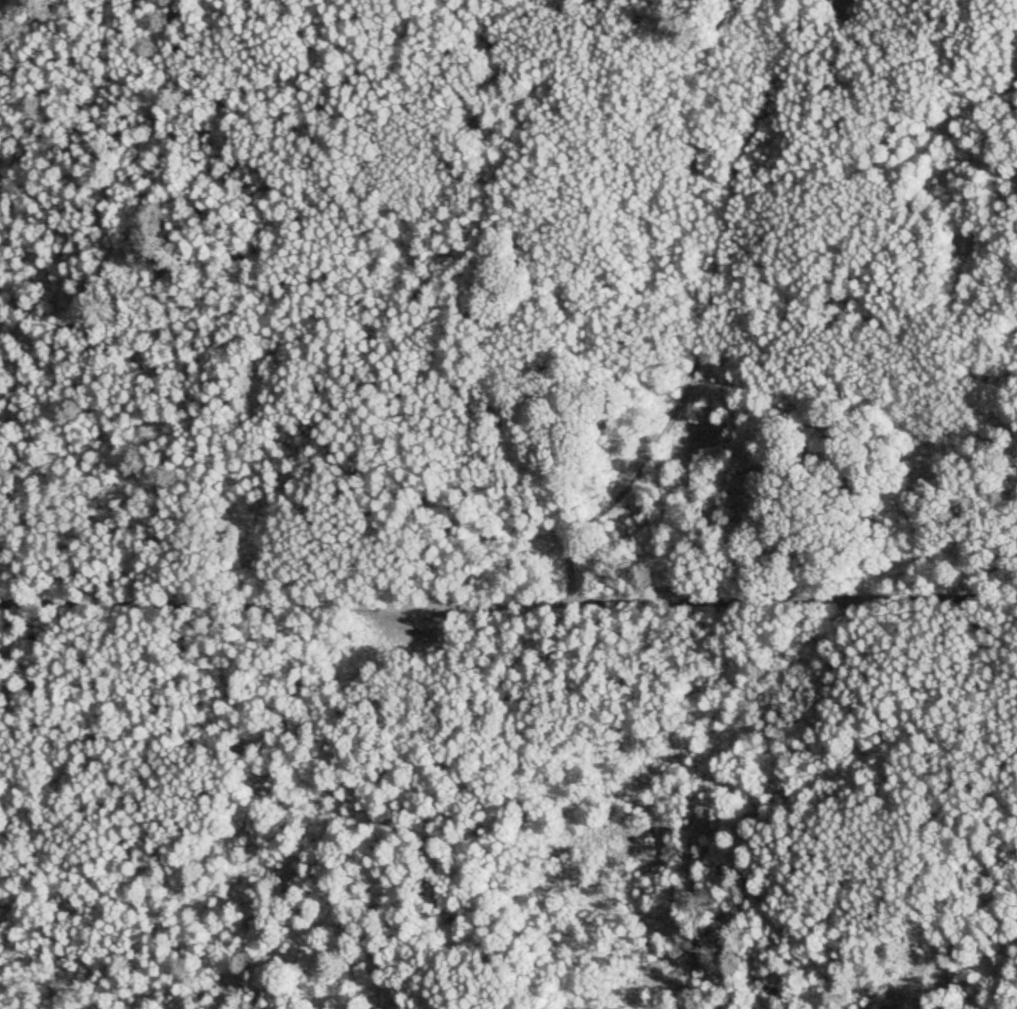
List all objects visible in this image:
road: (508, 601)

